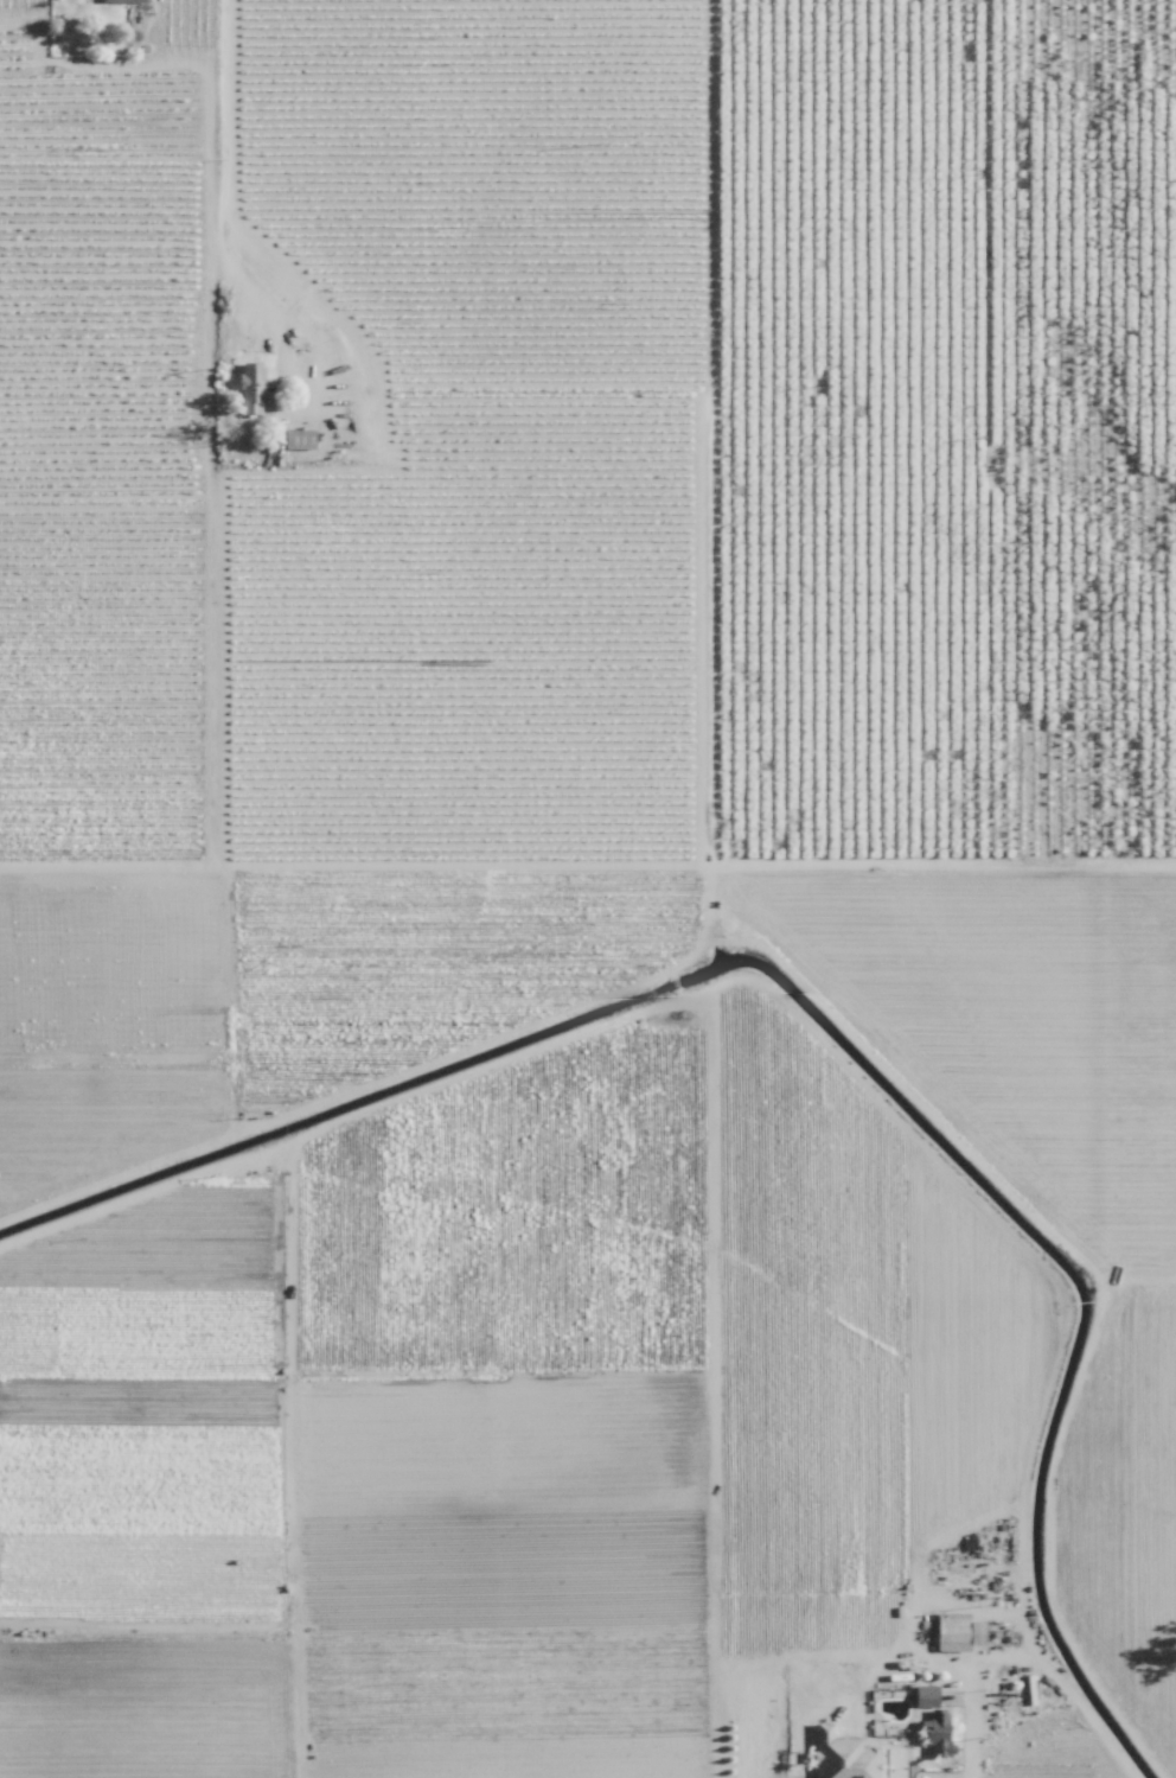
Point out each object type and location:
building: (121, 0)
road: (224, 160)
building: (250, 389)
building: (298, 439)
building: (958, 1638)
building: (921, 1696)
road: (970, 1721)
building: (932, 1732)
building: (841, 1759)

